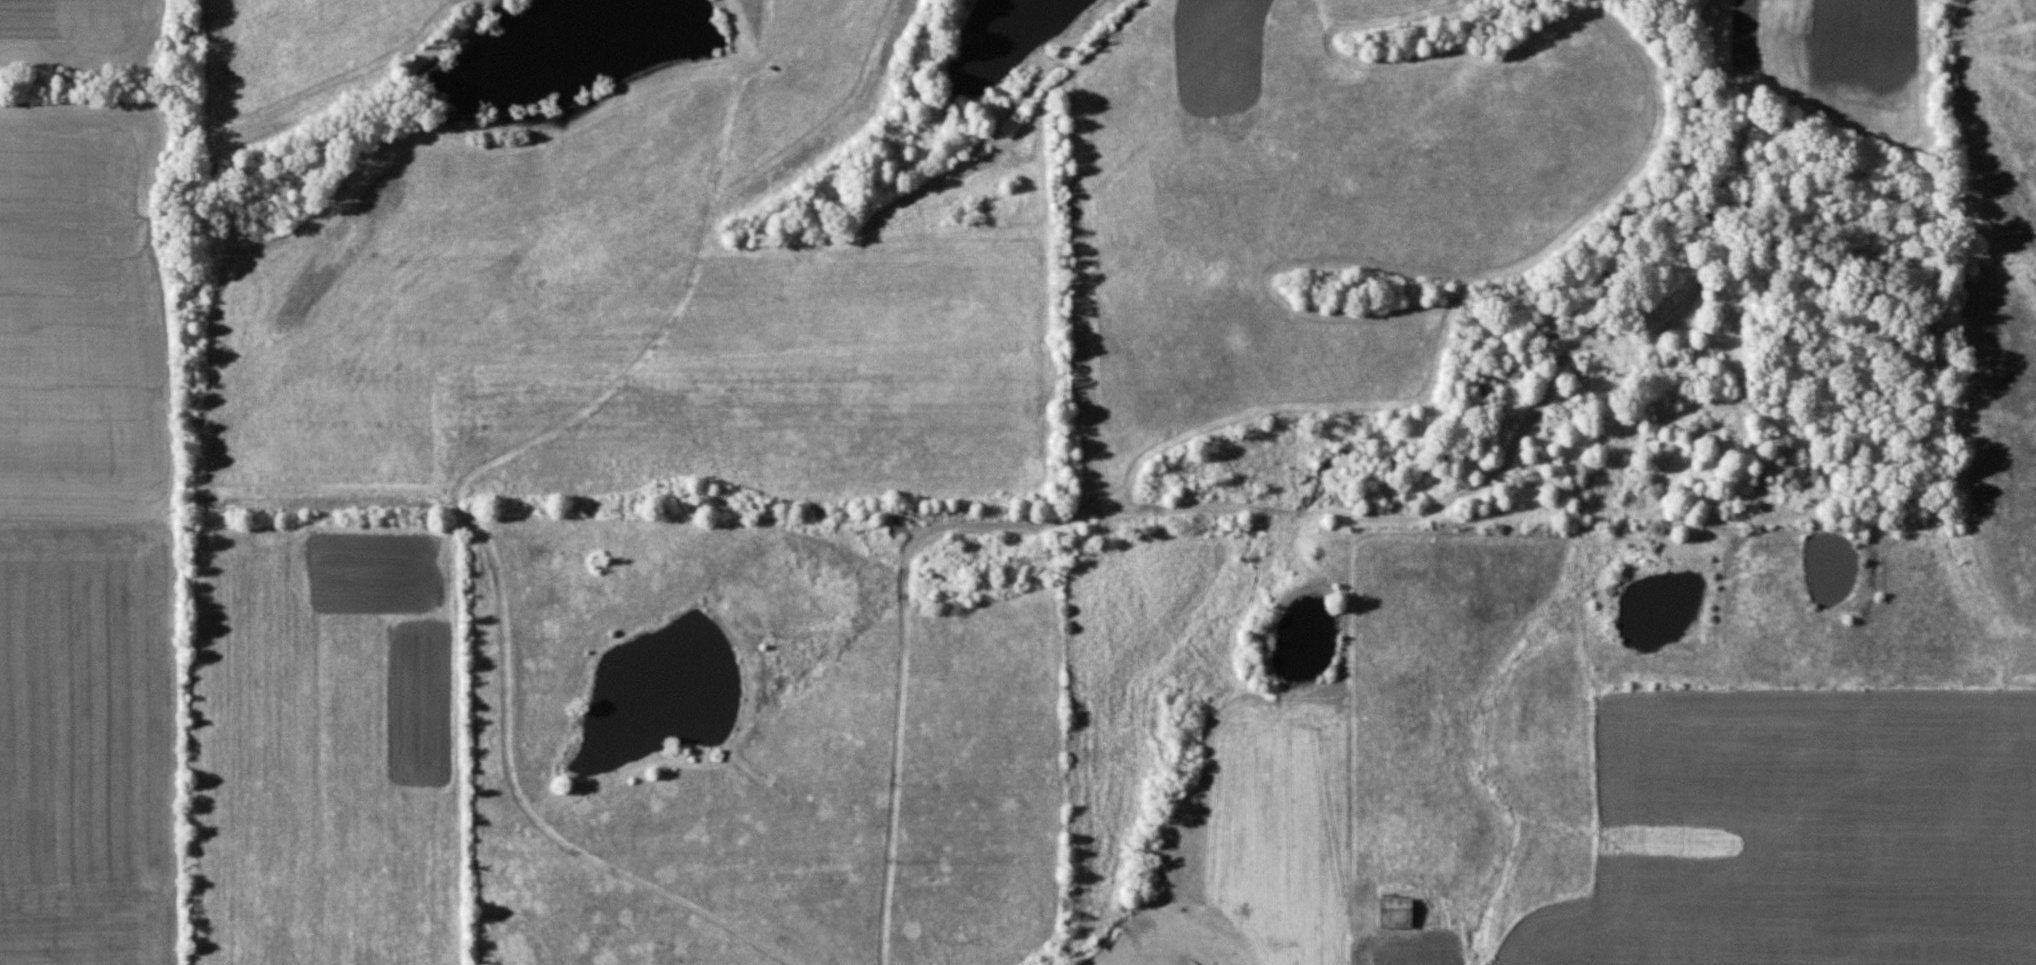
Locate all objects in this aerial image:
building: (1393, 913)

